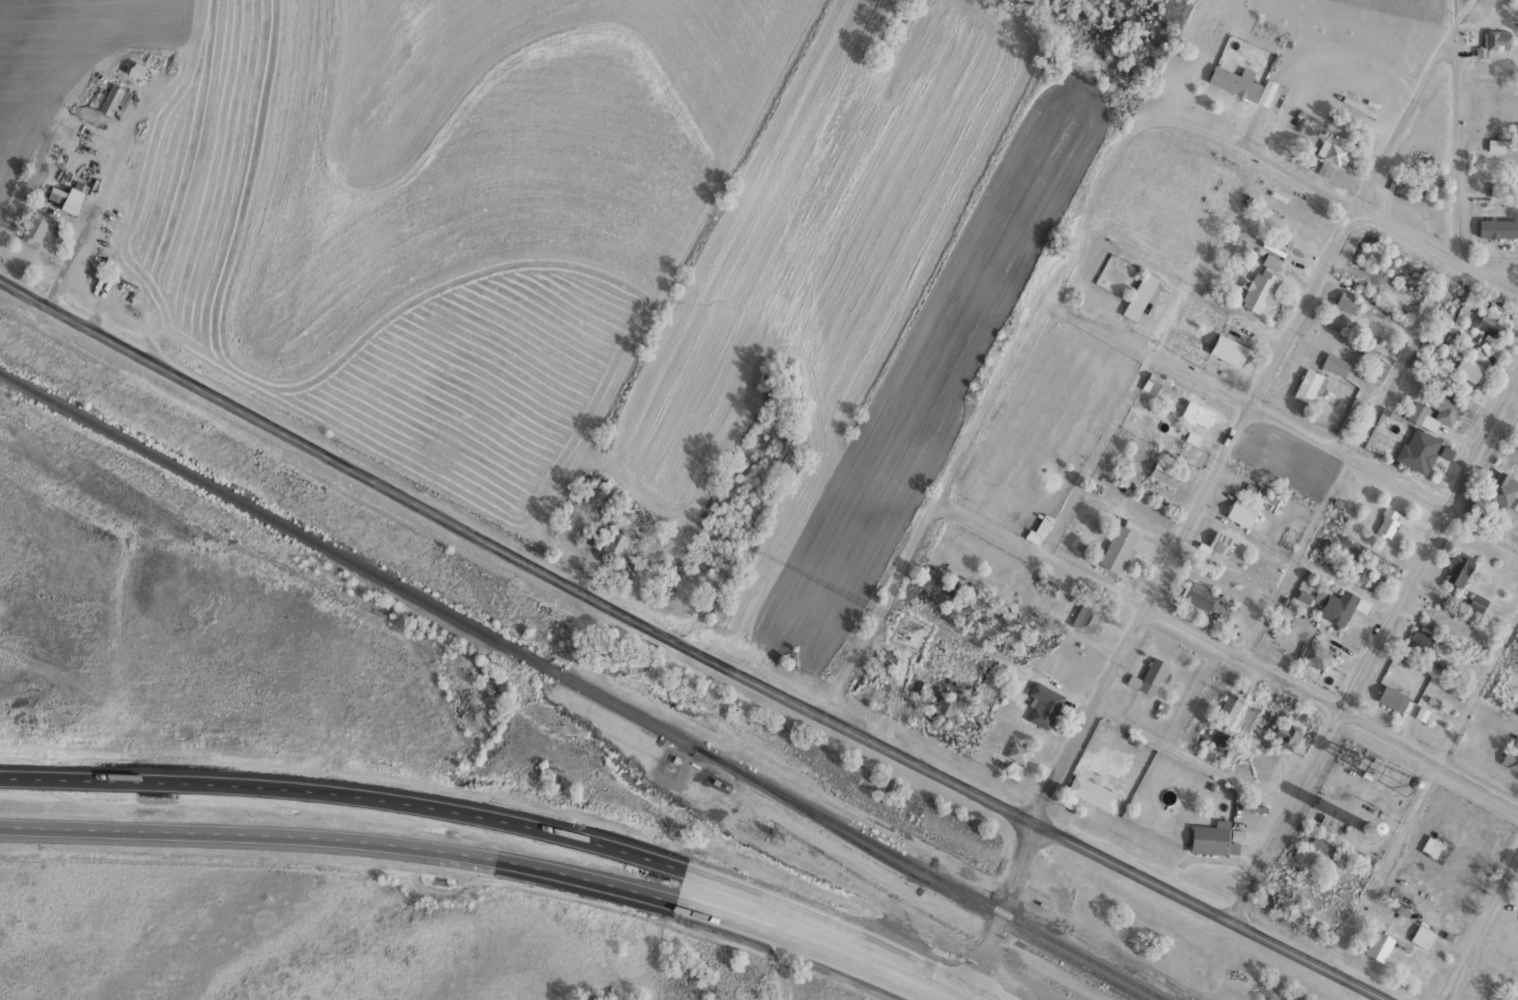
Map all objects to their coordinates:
road: (1454, 22)
building: (1491, 42)
building: (151, 57)
building: (1241, 84)
building: (112, 99)
building: (1493, 144)
building: (1332, 150)
road: (1458, 151)
building: (55, 194)
road: (1339, 195)
building: (1502, 223)
building: (33, 227)
building: (1371, 255)
building: (1260, 283)
road: (1511, 284)
building: (1143, 297)
building: (1347, 306)
building: (1490, 324)
building: (1226, 349)
road: (1154, 354)
building: (1372, 360)
building: (1334, 363)
building: (1468, 368)
building: (1152, 382)
building: (1306, 385)
building: (1432, 409)
road: (985, 410)
building: (1195, 413)
road: (1236, 431)
building: (1417, 449)
building: (1162, 473)
road: (1383, 479)
building: (1500, 490)
building: (1241, 510)
building: (1386, 522)
building: (1220, 542)
building: (611, 546)
building: (1116, 548)
road: (1042, 559)
building: (1457, 568)
building: (1361, 569)
building: (1206, 598)
building: (1476, 602)
building: (1339, 606)
building: (1087, 618)
building: (1419, 640)
road: (690, 642)
road: (1374, 648)
building: (1312, 655)
building: (1147, 676)
building: (918, 686)
railway: (586, 687)
building: (1390, 697)
building: (1043, 703)
building: (944, 707)
building: (1226, 709)
road: (1332, 709)
building: (150, 732)
building: (1283, 733)
building: (1015, 750)
building: (1509, 757)
road: (349, 788)
building: (1090, 788)
road: (344, 833)
building: (1212, 837)
building: (1429, 845)
railway: (946, 892)
road: (1001, 910)
road: (1482, 932)
road: (834, 934)
building: (1420, 935)
building: (1377, 945)
road: (784, 957)

